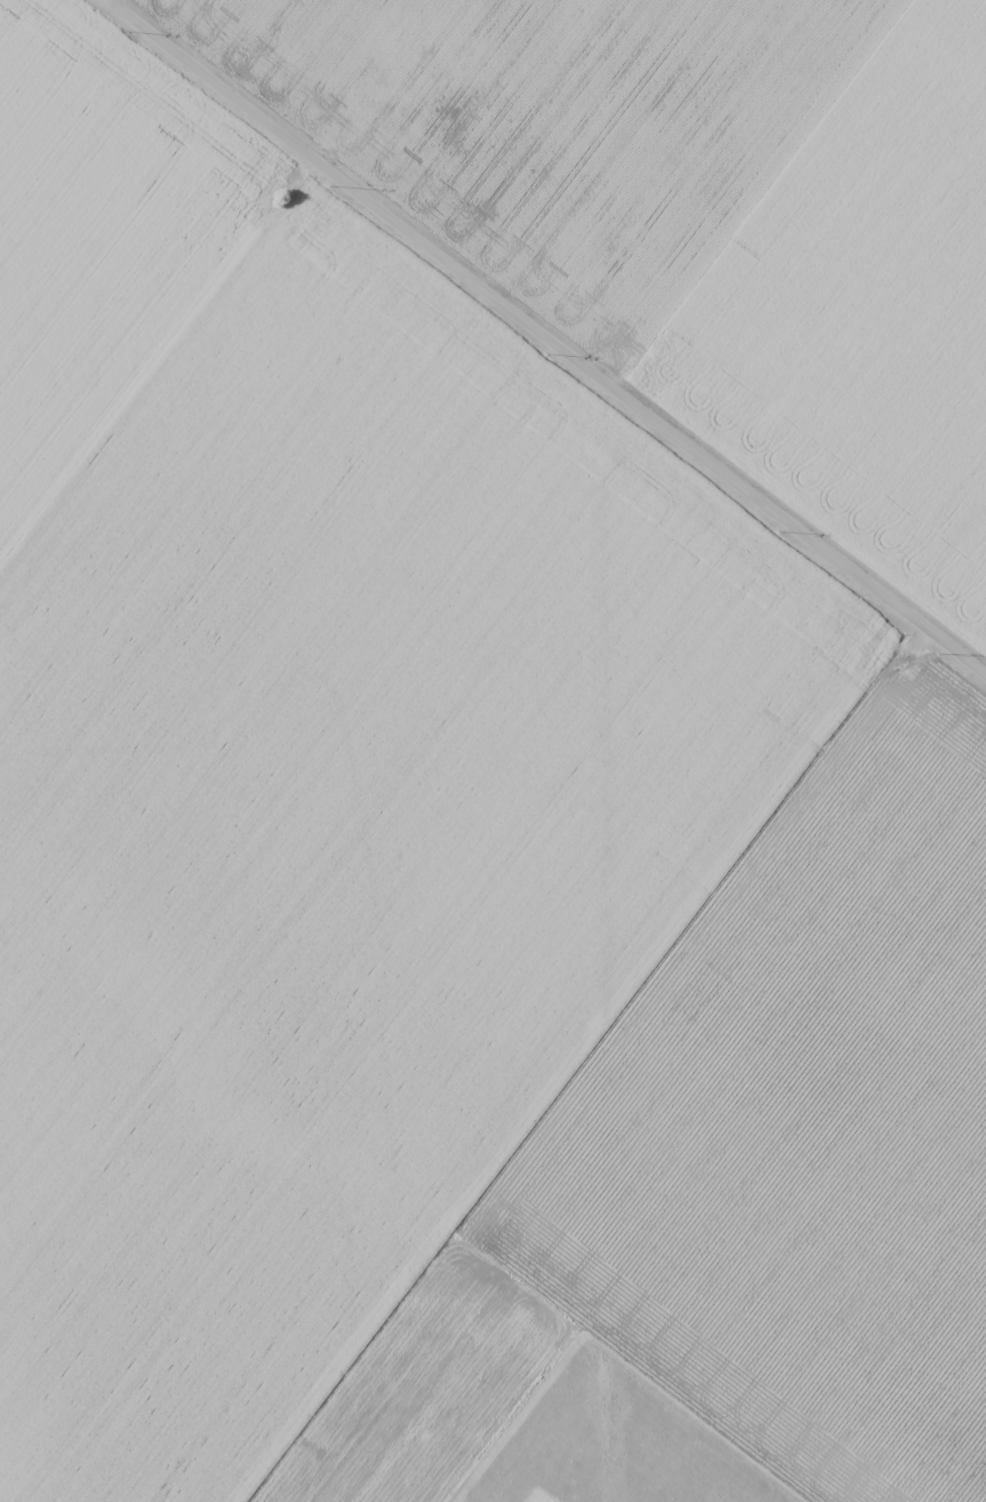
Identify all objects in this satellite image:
road: (546, 339)

